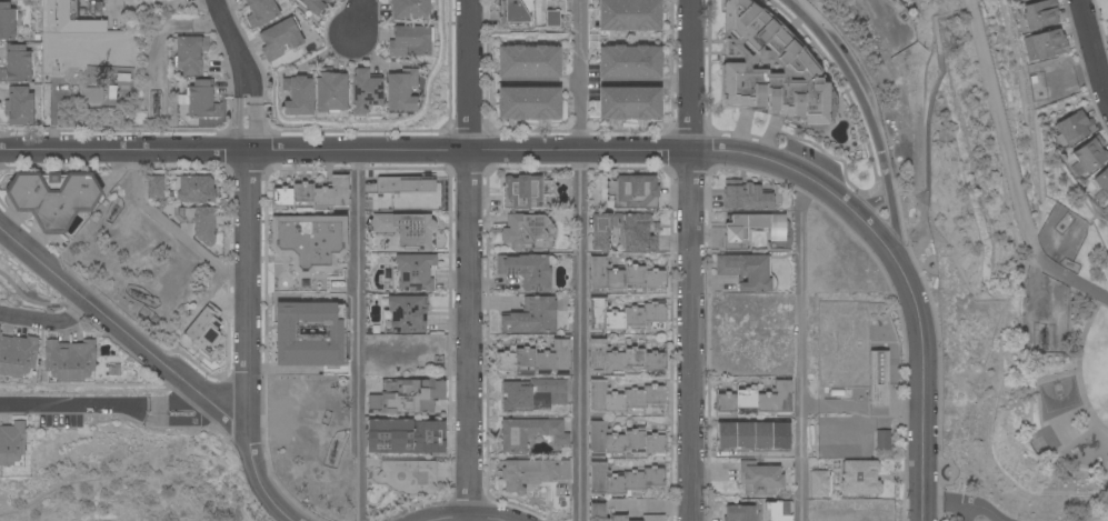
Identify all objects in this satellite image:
building: (1019, 0)
building: (1024, 0)
building: (311, 6)
building: (410, 9)
building: (260, 12)
building: (553, 12)
building: (515, 13)
building: (1040, 13)
building: (629, 16)
building: (74, 19)
building: (7, 21)
road: (359, 21)
building: (1107, 22)
building: (280, 38)
building: (409, 41)
building: (1049, 43)
road: (238, 48)
road: (1092, 49)
building: (190, 54)
building: (528, 61)
building: (629, 62)
building: (17, 64)
building: (770, 69)
building: (123, 78)
building: (400, 90)
building: (329, 91)
building: (112, 92)
building: (365, 93)
building: (92, 96)
building: (298, 97)
building: (201, 99)
building: (529, 103)
building: (629, 103)
building: (19, 106)
petroleum well: (154, 106)
road: (929, 109)
road: (871, 120)
building: (1075, 128)
road: (470, 152)
building: (1090, 153)
road: (1011, 169)
building: (1102, 181)
building: (405, 184)
building: (154, 187)
building: (193, 189)
building: (633, 191)
building: (525, 192)
building: (313, 194)
building: (746, 197)
building: (52, 198)
building: (198, 221)
road: (171, 228)
building: (408, 230)
building: (525, 231)
building: (600, 231)
building: (778, 231)
building: (638, 232)
building: (309, 241)
road: (472, 258)
road: (580, 260)
road: (692, 260)
road: (247, 261)
building: (528, 270)
building: (748, 271)
building: (413, 273)
building: (622, 277)
park: (24, 285)
petroleum well: (139, 295)
road: (34, 302)
building: (406, 314)
building: (531, 317)
building: (623, 317)
road: (48, 322)
building: (204, 330)
building: (309, 335)
road: (357, 335)
petroleum well: (1042, 337)
road: (801, 347)
building: (17, 355)
building: (536, 359)
building: (622, 359)
building: (69, 361)
building: (97, 364)
road: (166, 364)
building: (114, 370)
building: (879, 379)
road: (922, 391)
building: (531, 393)
building: (407, 395)
park: (1015, 397)
park: (1060, 397)
building: (622, 399)
building: (757, 400)
road: (76, 405)
road: (183, 413)
building: (529, 433)
building: (406, 435)
building: (752, 438)
building: (623, 441)
building: (882, 441)
park: (1046, 442)
building: (12, 444)
petroleum well: (331, 454)
building: (406, 477)
building: (536, 478)
building: (860, 478)
building: (759, 479)
building: (621, 481)
building: (818, 484)
road: (967, 500)
building: (778, 511)
building: (739, 513)
building: (615, 514)
road: (462, 517)

